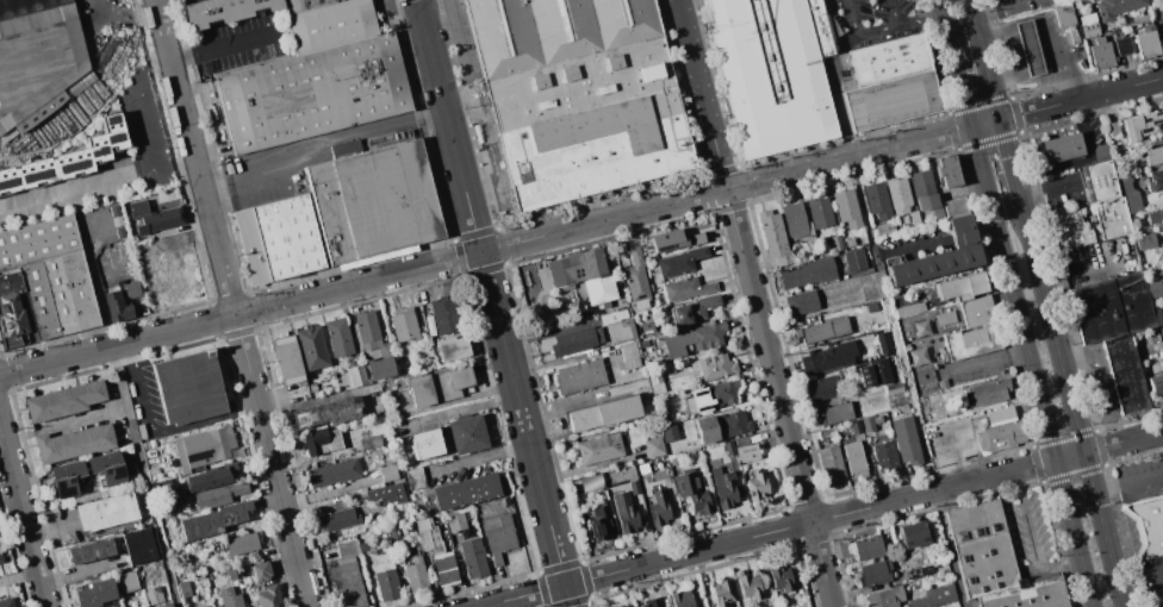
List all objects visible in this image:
building: (1058, 1)
building: (303, 4)
road: (983, 4)
building: (1115, 7)
building: (224, 11)
road: (110, 12)
road: (897, 13)
parking lot: (878, 18)
building: (1066, 18)
road: (932, 19)
road: (944, 24)
building: (329, 25)
building: (1088, 25)
road: (1010, 27)
building: (554, 30)
road: (875, 31)
building: (1146, 42)
road: (223, 43)
gas station: (1045, 45)
building: (1122, 45)
building: (1030, 48)
road: (839, 52)
building: (1101, 54)
building: (890, 57)
building: (37, 61)
road: (984, 61)
road: (1053, 62)
road: (1021, 68)
building: (773, 73)
road: (960, 88)
building: (313, 93)
road: (702, 94)
building: (891, 101)
road: (841, 112)
rooftop solar panel: (112, 119)
building: (590, 124)
building: (1142, 124)
road: (448, 125)
building: (1112, 129)
rooftop solar panel: (116, 137)
road: (317, 142)
building: (1059, 148)
road: (150, 149)
rooftop solar panel: (99, 151)
building: (1153, 155)
road: (194, 157)
road: (1082, 159)
building: (64, 161)
road: (1010, 161)
rooftop solar panel: (73, 165)
road: (822, 165)
building: (947, 171)
building: (1100, 175)
rooftop solar panel: (35, 176)
building: (1155, 180)
road: (1047, 183)
building: (922, 189)
road: (68, 190)
building: (897, 194)
building: (1128, 195)
building: (877, 200)
building: (373, 201)
road: (736, 204)
building: (954, 206)
road: (726, 207)
building: (846, 208)
building: (819, 212)
road: (866, 212)
building: (937, 212)
building: (1155, 217)
building: (154, 218)
building: (914, 218)
building: (794, 220)
building: (1092, 223)
building: (884, 227)
road: (984, 231)
road: (962, 236)
building: (773, 237)
building: (276, 239)
building: (674, 239)
building: (848, 242)
building: (1145, 242)
building: (835, 243)
road: (914, 248)
building: (1162, 248)
building: (940, 256)
building: (853, 259)
building: (680, 262)
road: (1080, 269)
building: (806, 273)
building: (583, 274)
building: (44, 279)
building: (635, 280)
road: (357, 283)
building: (960, 287)
building: (685, 288)
building: (1152, 288)
building: (131, 290)
building: (870, 292)
building: (657, 301)
building: (801, 302)
building: (116, 306)
building: (871, 307)
building: (1109, 307)
building: (909, 308)
building: (692, 309)
building: (976, 311)
building: (443, 315)
building: (1157, 315)
building: (612, 317)
building: (944, 318)
building: (807, 321)
building: (402, 325)
building: (652, 328)
building: (367, 330)
building: (822, 330)
building: (920, 330)
building: (1161, 331)
building: (337, 337)
building: (694, 338)
building: (574, 340)
building: (971, 342)
building: (643, 343)
building: (883, 343)
road: (117, 345)
building: (311, 348)
building: (452, 349)
building: (629, 356)
building: (918, 356)
building: (828, 357)
building: (286, 359)
road: (985, 361)
building: (713, 367)
road: (511, 368)
road: (1031, 368)
building: (379, 369)
road: (773, 371)
building: (873, 373)
building: (1124, 374)
building: (355, 375)
building: (579, 376)
road: (908, 378)
building: (654, 381)
building: (1155, 383)
building: (436, 386)
building: (188, 387)
building: (822, 387)
road: (141, 388)
rooftop solar panel: (699, 392)
building: (985, 393)
building: (713, 396)
building: (63, 400)
road: (1072, 402)
rooftop solar panel: (702, 408)
road: (465, 409)
building: (326, 412)
building: (603, 413)
building: (834, 413)
building: (876, 419)
road: (205, 420)
building: (867, 424)
road: (68, 425)
building: (721, 426)
building: (854, 427)
road: (133, 431)
building: (668, 433)
building: (826, 433)
building: (466, 434)
building: (1000, 436)
building: (904, 439)
building: (740, 440)
building: (319, 442)
building: (71, 443)
building: (368, 443)
building: (424, 444)
building: (204, 446)
building: (653, 446)
building: (598, 449)
building: (746, 452)
rooftop solar panel: (198, 455)
building: (884, 457)
building: (853, 458)
road: (272, 461)
building: (831, 464)
building: (106, 467)
building: (640, 470)
building: (332, 473)
building: (387, 473)
rooftop solar panel: (118, 474)
building: (66, 477)
building: (210, 477)
building: (413, 478)
road: (987, 478)
road: (1130, 481)
building: (590, 482)
road: (1018, 482)
building: (757, 486)
building: (634, 487)
building: (723, 487)
building: (691, 490)
building: (465, 492)
rooftop solar panel: (63, 493)
building: (387, 494)
building: (218, 495)
building: (173, 502)
building: (659, 508)
road: (24, 509)
building: (105, 512)
building: (624, 513)
building: (213, 520)
building: (337, 520)
building: (455, 521)
building: (599, 522)
building: (1149, 525)
road: (52, 526)
road: (1031, 532)
building: (913, 533)
parking lot: (1032, 533)
building: (497, 536)
road: (553, 536)
building: (240, 544)
building: (137, 546)
building: (362, 546)
building: (866, 547)
building: (982, 547)
building: (347, 549)
road: (951, 549)
building: (89, 551)
building: (435, 552)
building: (472, 557)
building: (0, 561)
road: (645, 564)
road: (822, 564)
road: (1061, 568)
building: (158, 571)
building: (260, 571)
building: (230, 572)
building: (873, 572)
building: (416, 575)
building: (1151, 576)
building: (779, 578)
building: (126, 581)
building: (347, 582)
building: (386, 586)
building: (748, 586)
building: (184, 588)
building: (94, 593)
building: (722, 593)
building: (153, 594)
road: (568, 595)
building: (1027, 595)
building: (268, 596)
building: (933, 596)
building: (229, 597)
building: (884, 597)
building: (680, 599)
building: (1155, 601)
building: (6, 602)
building: (651, 602)
building: (164, 605)
building: (143, 606)
building: (622, 606)
building: (627, 606)

